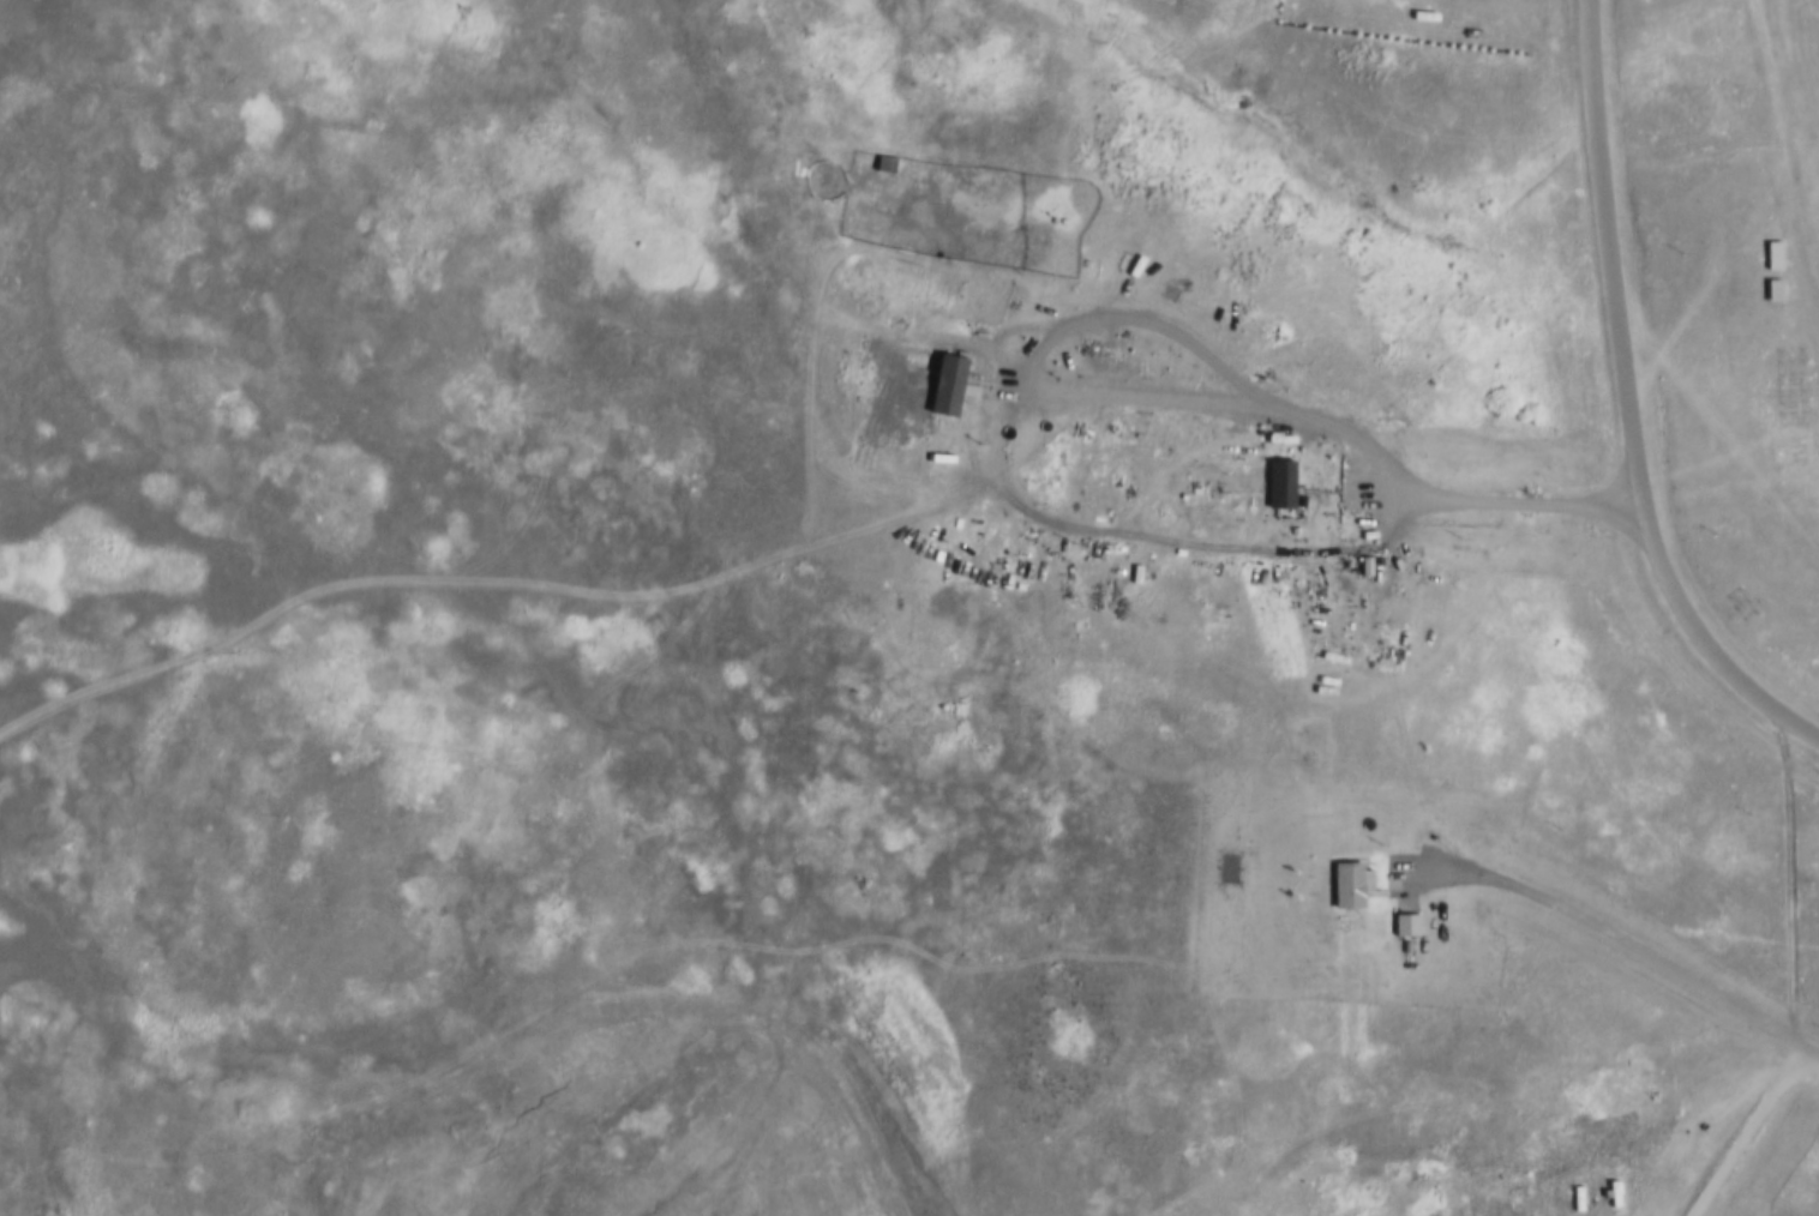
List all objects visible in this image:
building: (1772, 253)
road: (1628, 408)
building: (1274, 487)
building: (1350, 489)
road: (1485, 499)
building: (1344, 887)
building: (1404, 925)
road: (1611, 935)

